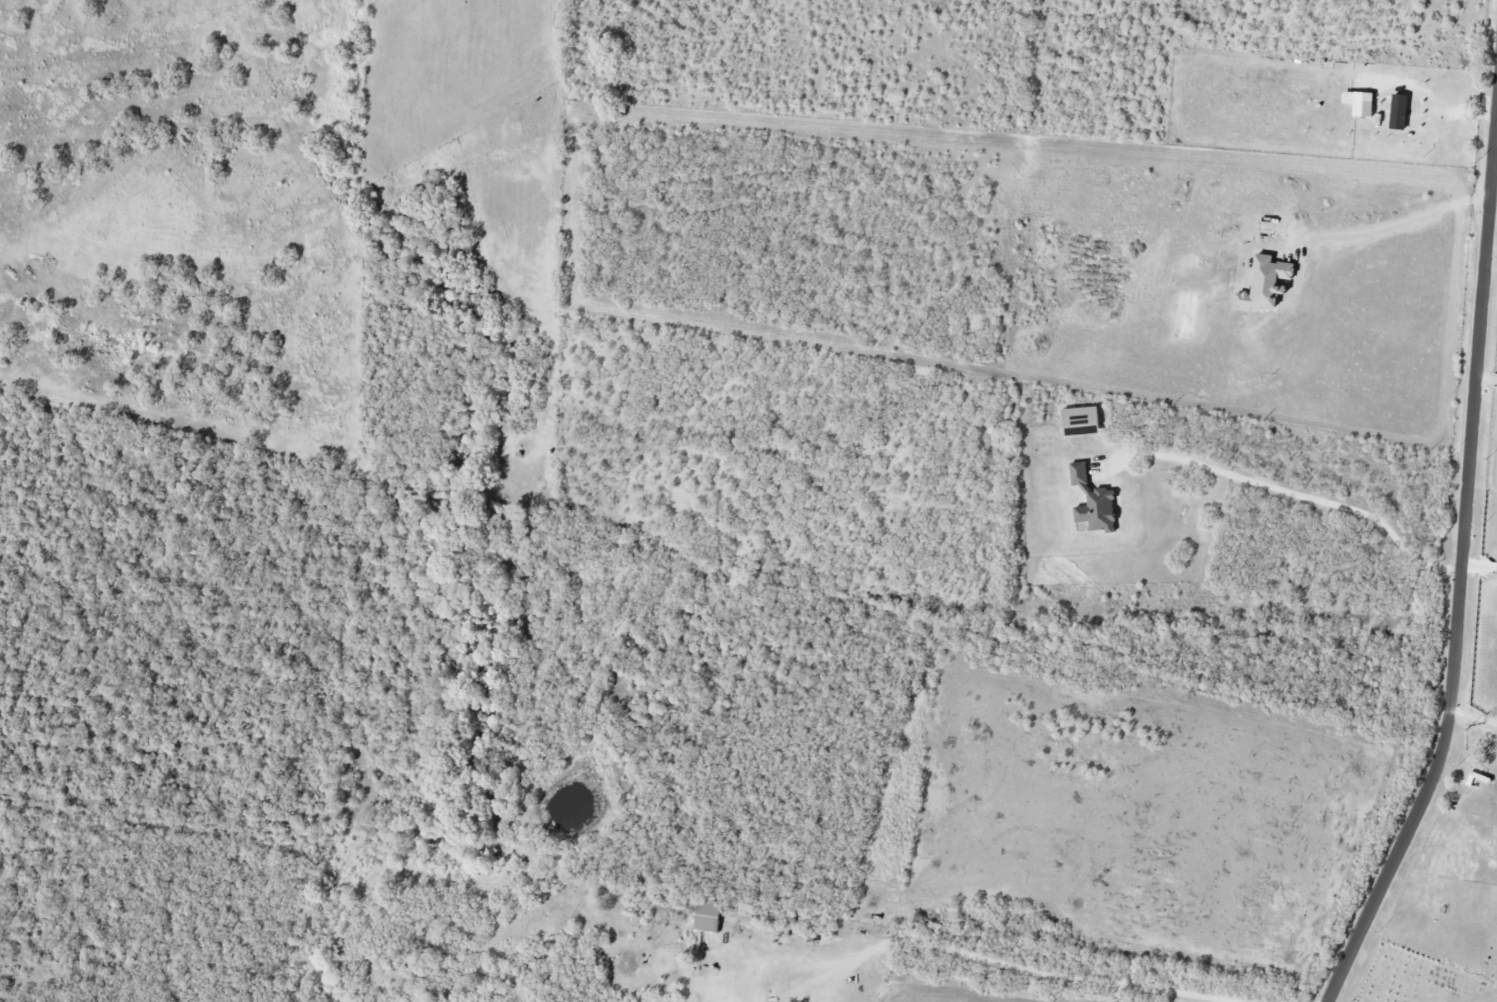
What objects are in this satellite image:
building: (1365, 106)
building: (1400, 113)
road: (1495, 175)
road: (1402, 224)
building: (1268, 283)
road: (1488, 373)
building: (1083, 422)
road: (1301, 496)
building: (1094, 503)
road: (1481, 563)
road: (1463, 580)
road: (1475, 716)
building: (709, 917)
road: (1048, 975)
road: (748, 989)

